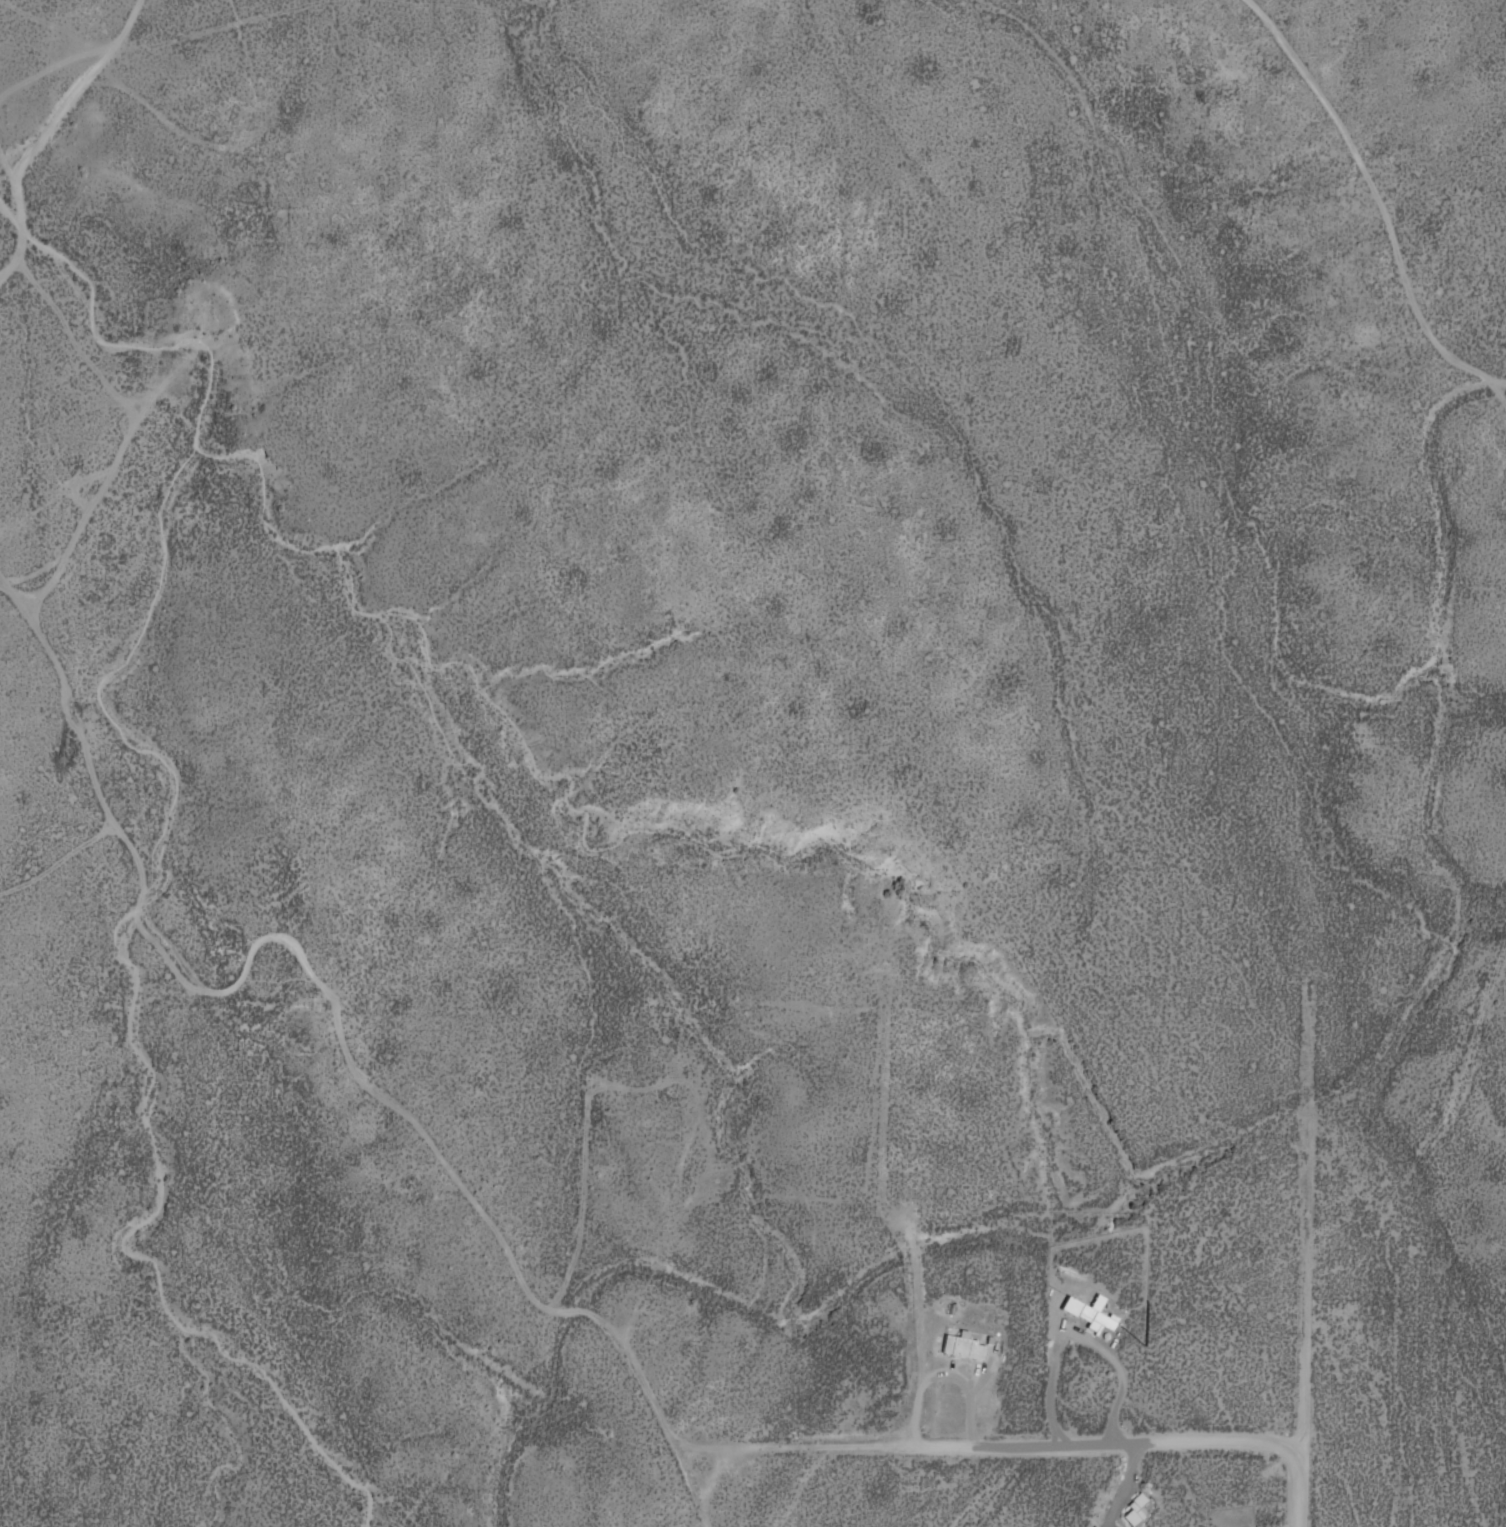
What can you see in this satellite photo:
road: (1150, 1445)

